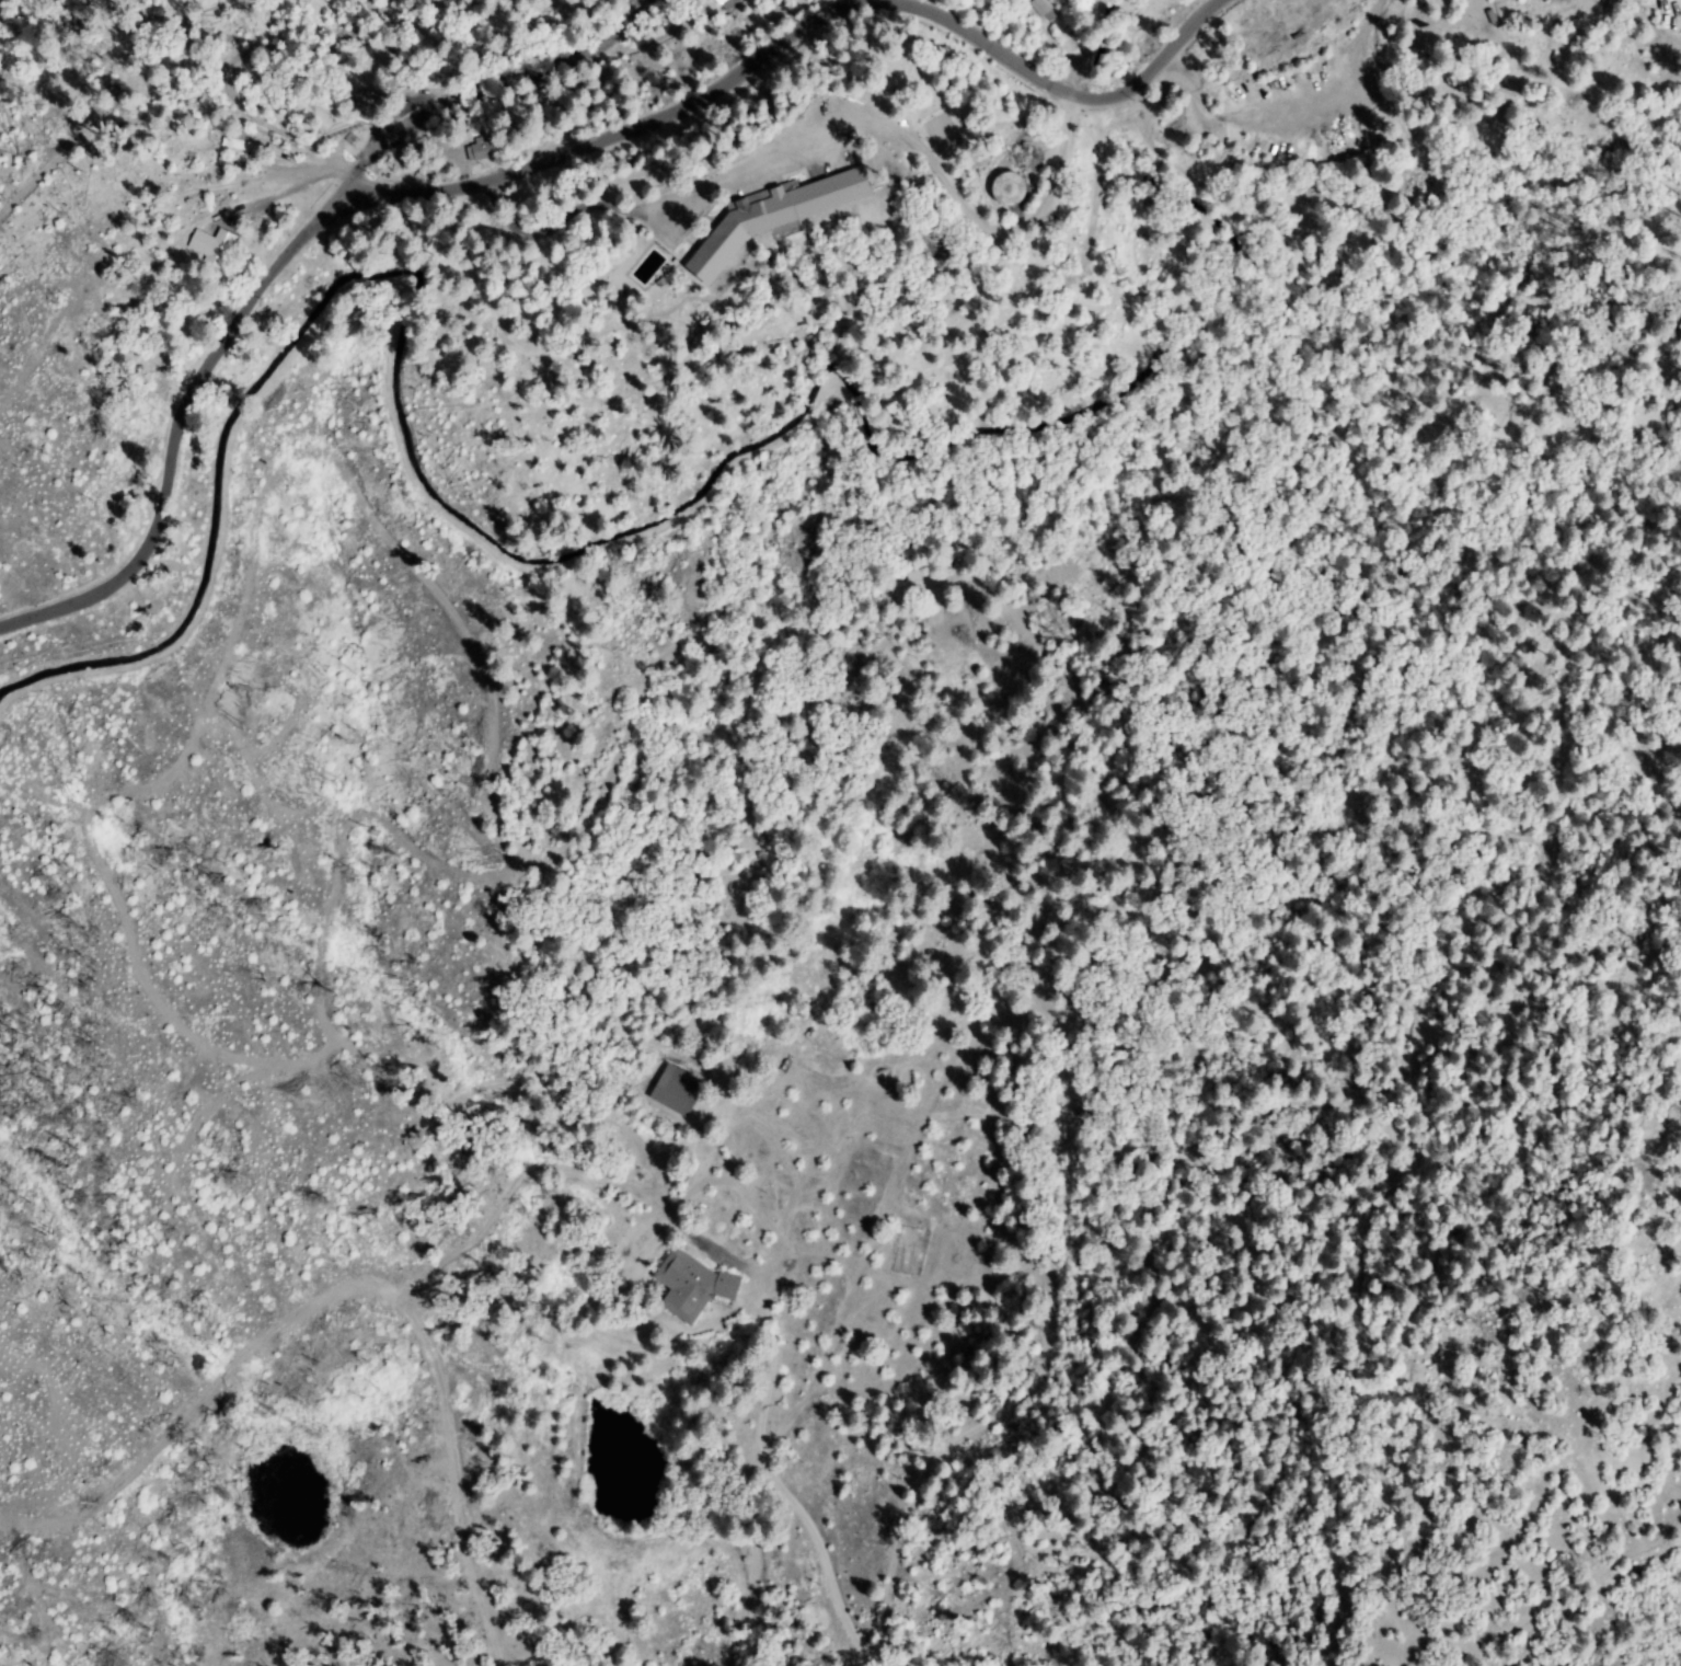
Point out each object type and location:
building: (717, 1)
building: (725, 2)
building: (1040, 8)
road: (479, 77)
road: (1061, 92)
building: (369, 104)
building: (389, 119)
road: (589, 128)
building: (244, 143)
building: (483, 150)
storage tank: (1023, 157)
road: (312, 176)
building: (1016, 188)
storage tank: (1009, 191)
building: (773, 217)
road: (135, 243)
building: (216, 248)
road: (154, 400)
building: (678, 1092)
road: (919, 1156)
building: (691, 1287)
road: (788, 1495)

